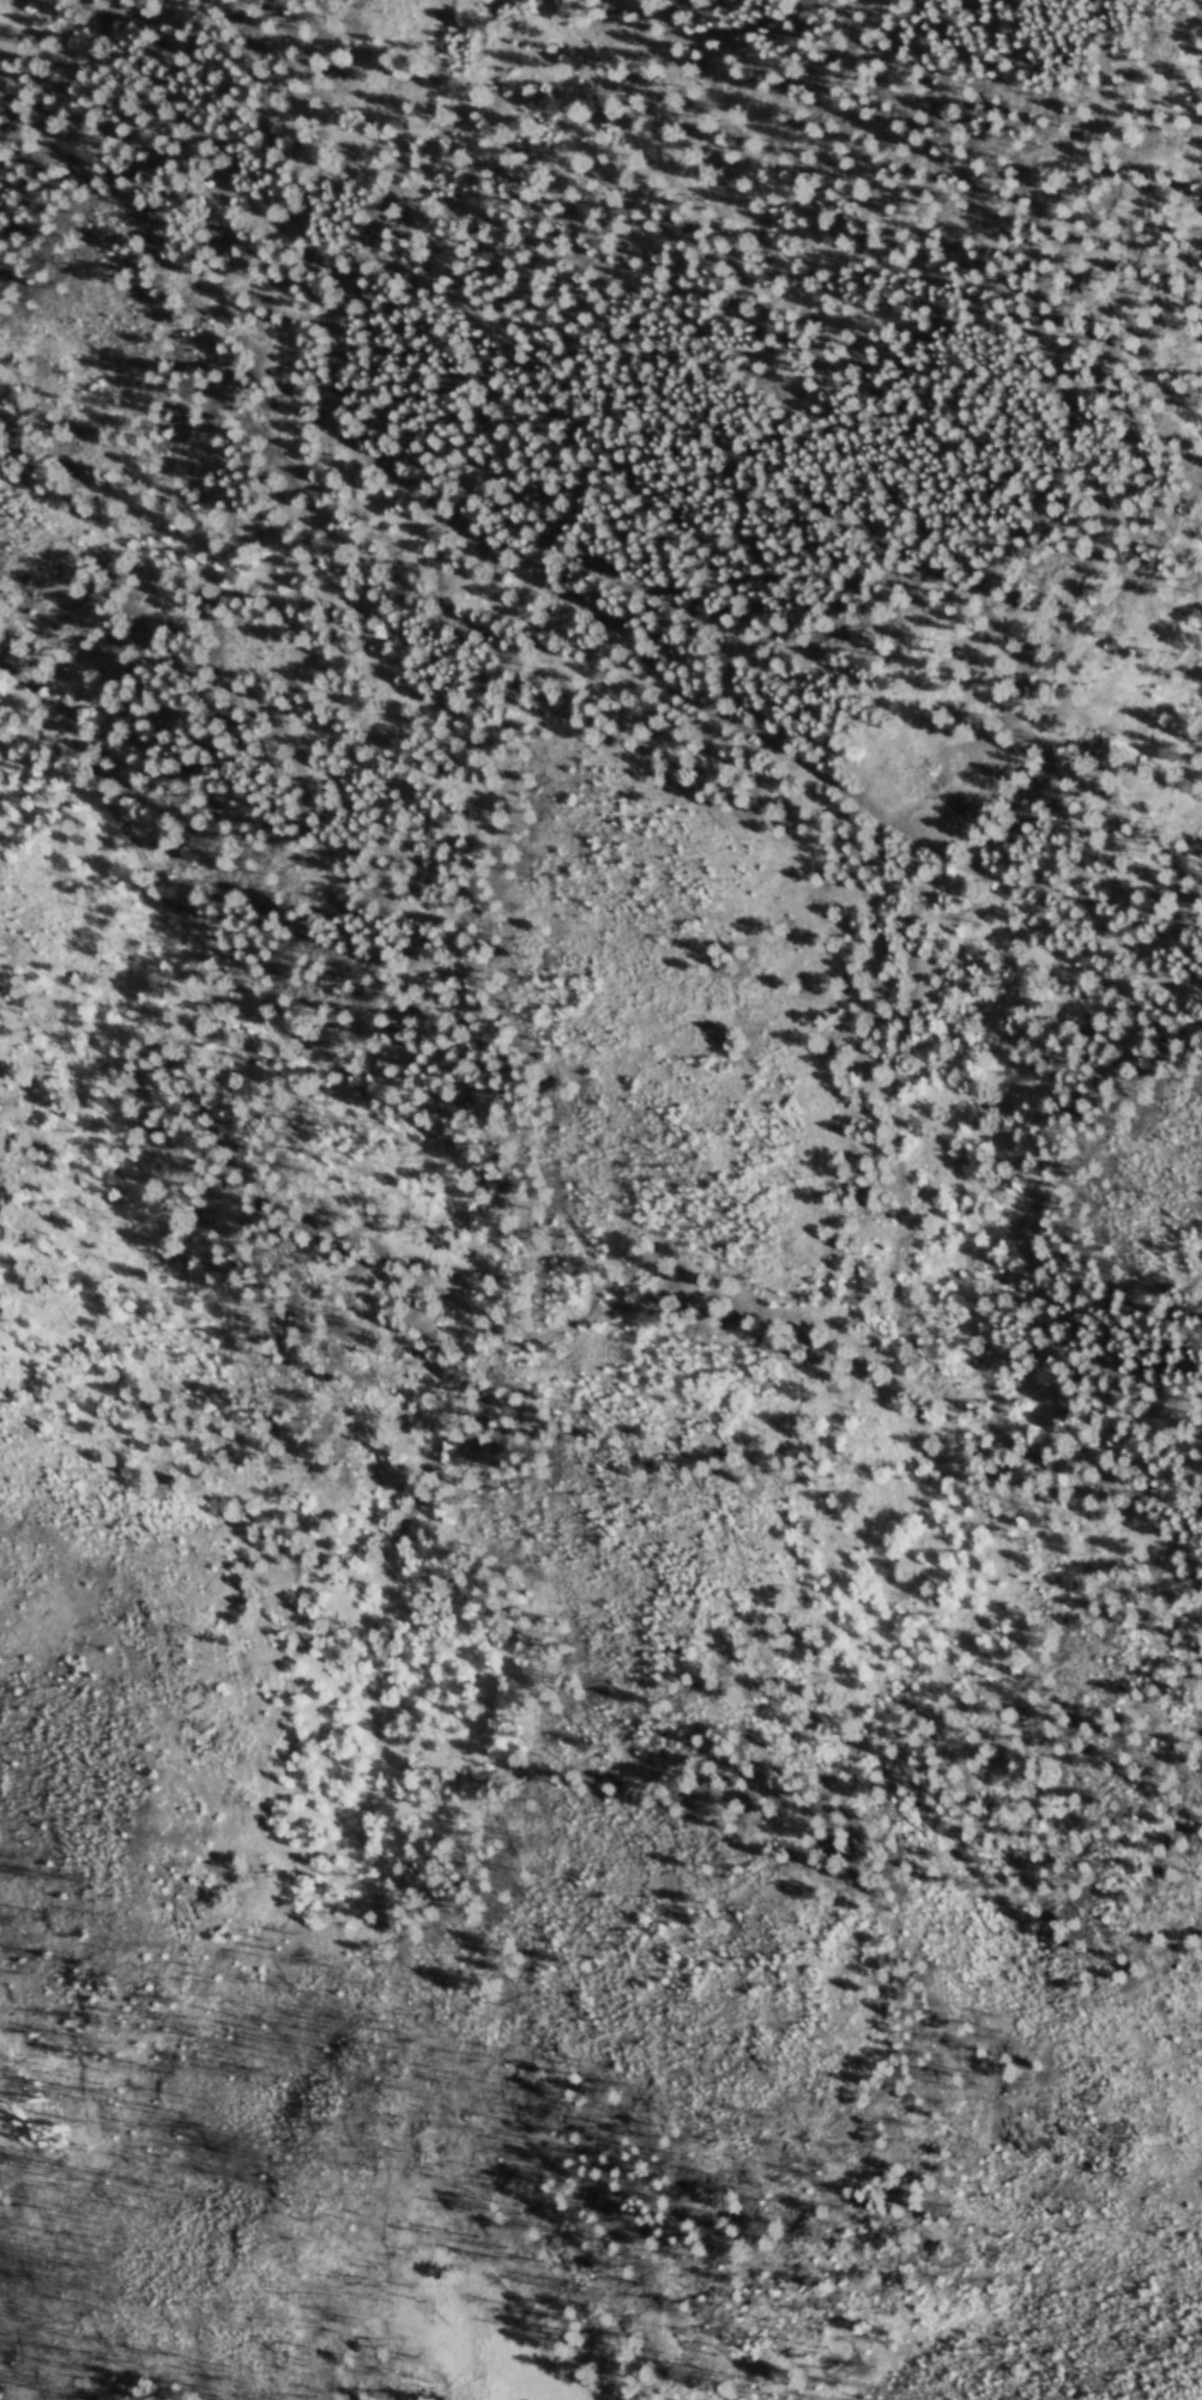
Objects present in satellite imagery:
road: (67, 85)

